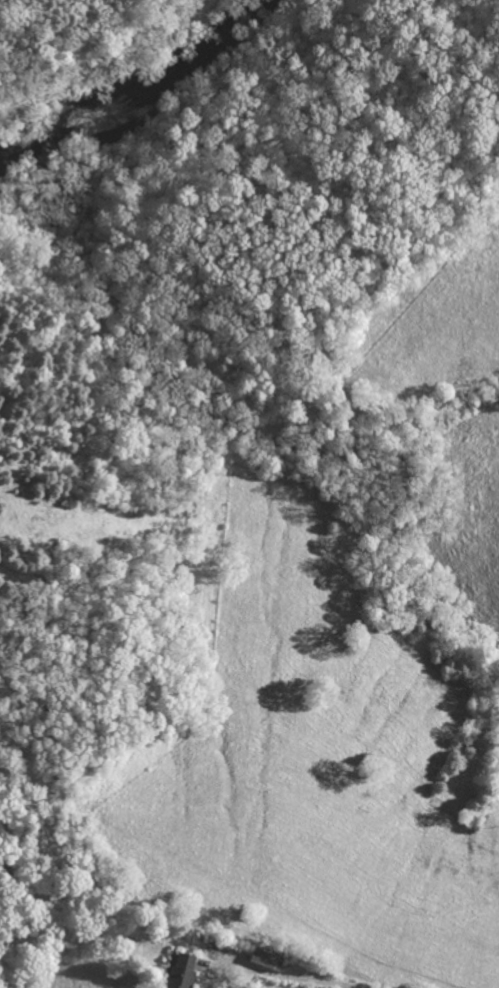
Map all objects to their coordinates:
building: (262, 958)
building: (178, 971)
road: (286, 978)

